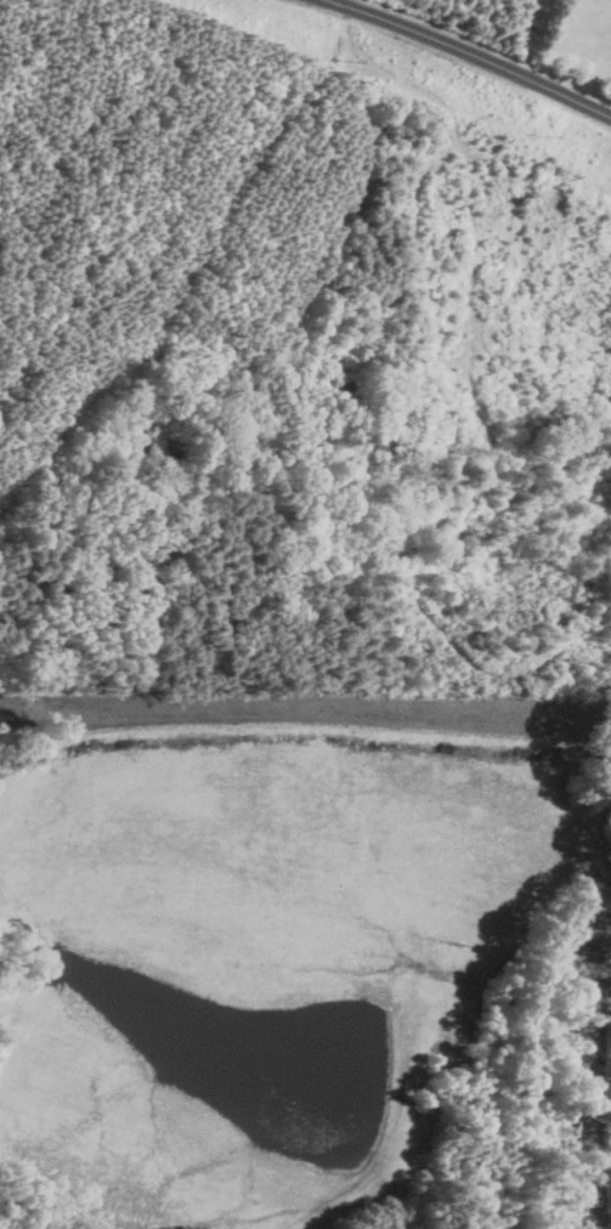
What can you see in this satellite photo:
road: (463, 51)

